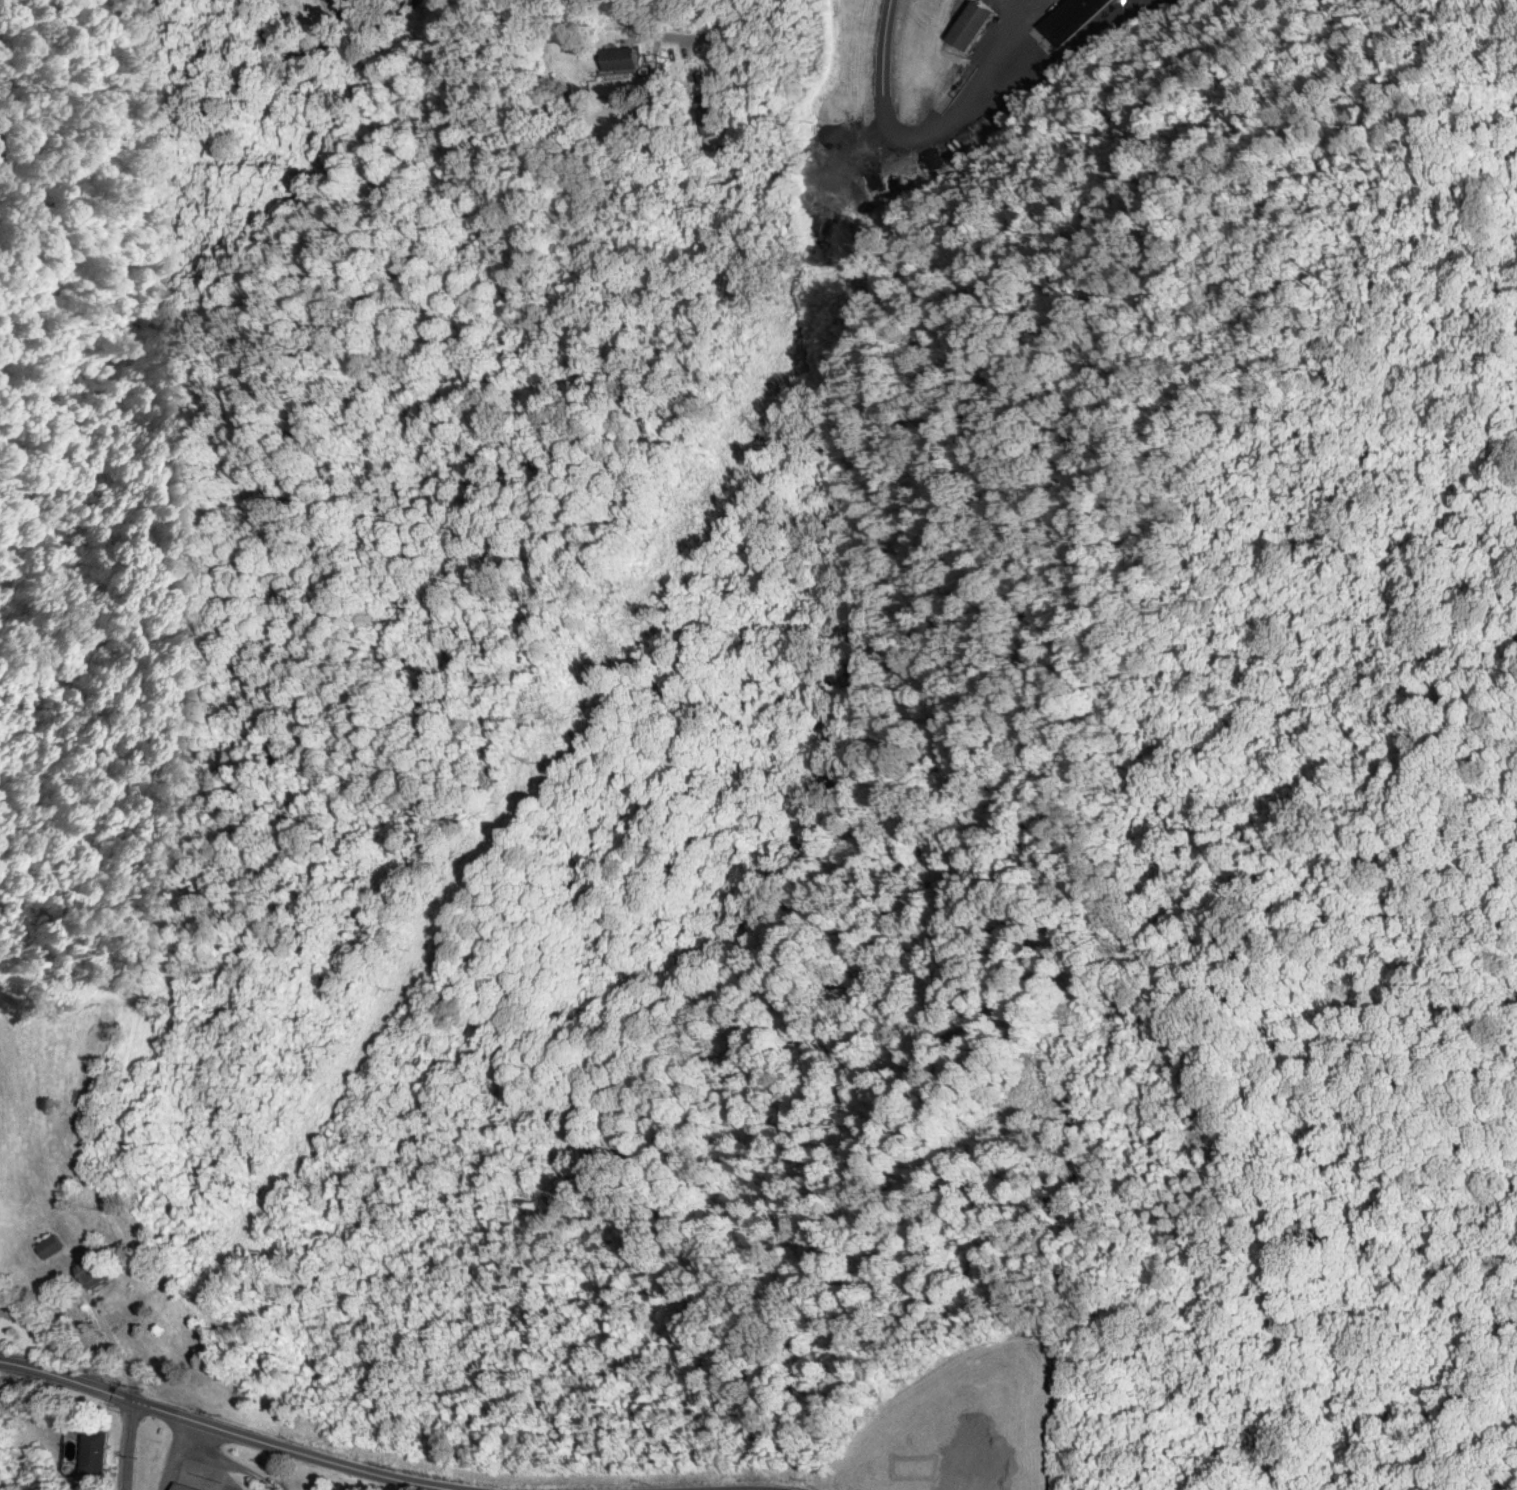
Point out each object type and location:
building: (1070, 18)
building: (970, 24)
road: (722, 37)
road: (306, 42)
building: (1037, 53)
building: (616, 58)
road: (891, 77)
building: (707, 116)
building: (46, 1246)
building: (88, 1272)
road: (237, 1433)
road: (131, 1444)
building: (96, 1452)
building: (184, 1487)
road: (747, 1488)

